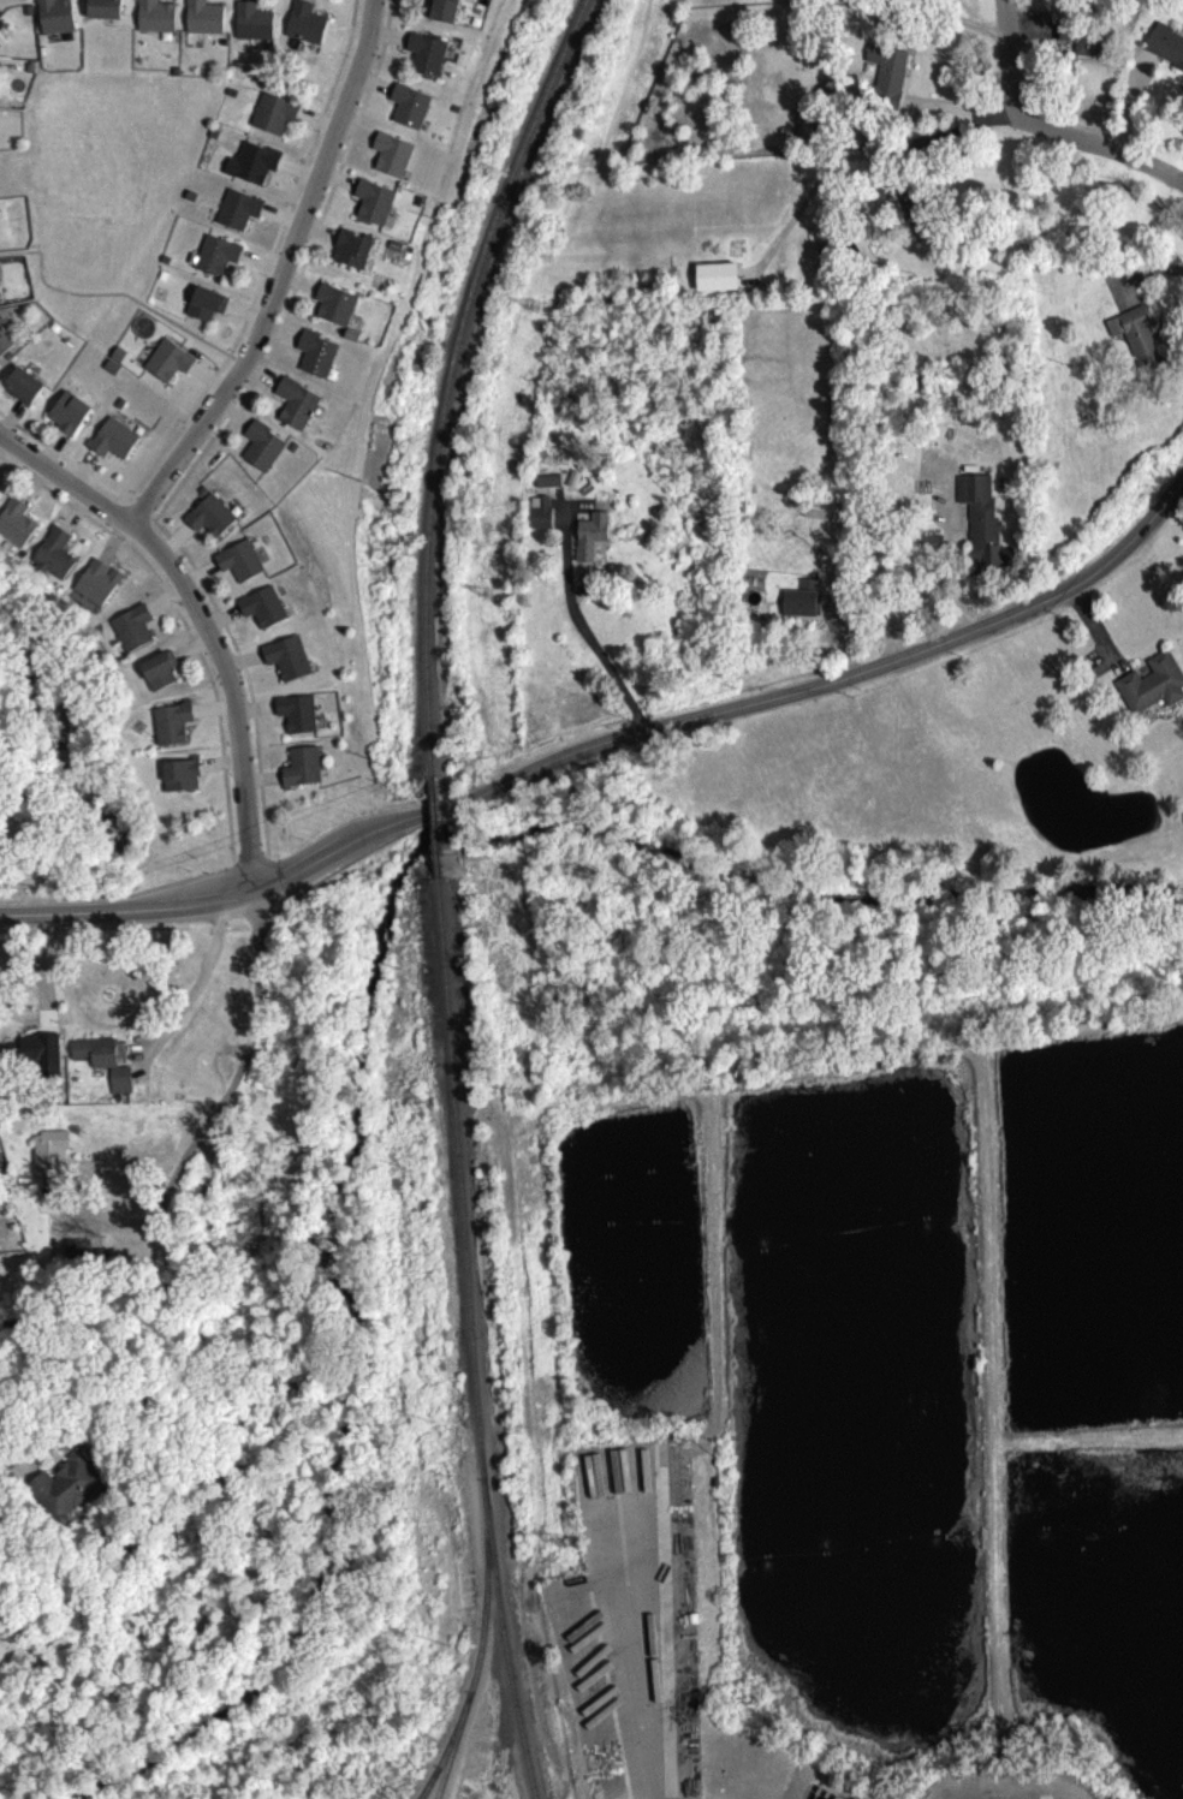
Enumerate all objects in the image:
building: (102, 12)
building: (442, 13)
building: (54, 20)
building: (153, 20)
building: (201, 22)
building: (251, 28)
building: (303, 28)
building: (0, 29)
building: (1077, 44)
building: (1165, 50)
building: (424, 59)
building: (885, 76)
building: (408, 111)
road: (963, 112)
building: (271, 119)
building: (805, 130)
road: (1047, 130)
road: (850, 156)
road: (343, 157)
building: (390, 160)
building: (250, 168)
building: (371, 207)
building: (236, 214)
building: (351, 254)
building: (214, 260)
road: (264, 266)
road: (279, 274)
building: (714, 281)
road: (107, 299)
power tower: (535, 304)
building: (204, 309)
building: (333, 310)
building: (1135, 341)
building: (4, 346)
building: (314, 358)
road: (228, 362)
building: (166, 365)
road: (236, 365)
road: (257, 379)
railway: (447, 379)
building: (20, 391)
building: (293, 409)
building: (66, 417)
building: (111, 445)
building: (260, 451)
road: (63, 464)
building: (540, 511)
road: (138, 517)
building: (208, 522)
building: (980, 526)
building: (16, 528)
building: (589, 541)
building: (53, 559)
building: (237, 566)
road: (188, 568)
road: (941, 576)
power tower: (489, 590)
road: (961, 603)
building: (797, 608)
building: (260, 612)
road: (203, 619)
road: (179, 626)
building: (131, 633)
road: (579, 633)
building: (284, 663)
building: (157, 675)
building: (1151, 689)
road: (813, 692)
building: (293, 717)
building: (170, 728)
building: (299, 772)
building: (179, 781)
building: (1182, 820)
road: (373, 829)
railway: (432, 832)
road: (311, 860)
road: (249, 863)
road: (255, 890)
road: (194, 907)
road: (77, 919)
road: (41, 977)
road: (194, 988)
road: (8, 1000)
road: (245, 1052)
building: (102, 1053)
building: (28, 1055)
road: (840, 1065)
power tower: (518, 1092)
building: (49, 1150)
road: (987, 1255)
road: (713, 1279)
railway: (474, 1344)
road: (656, 1464)
road: (18, 1473)
building: (67, 1490)
road: (994, 1508)
power tower: (555, 1537)
road: (636, 1566)
road: (605, 1569)
railway: (476, 1649)
road: (641, 1733)
railway: (440, 1761)
railway: (427, 1783)
building: (818, 1794)
road: (1022, 1797)

